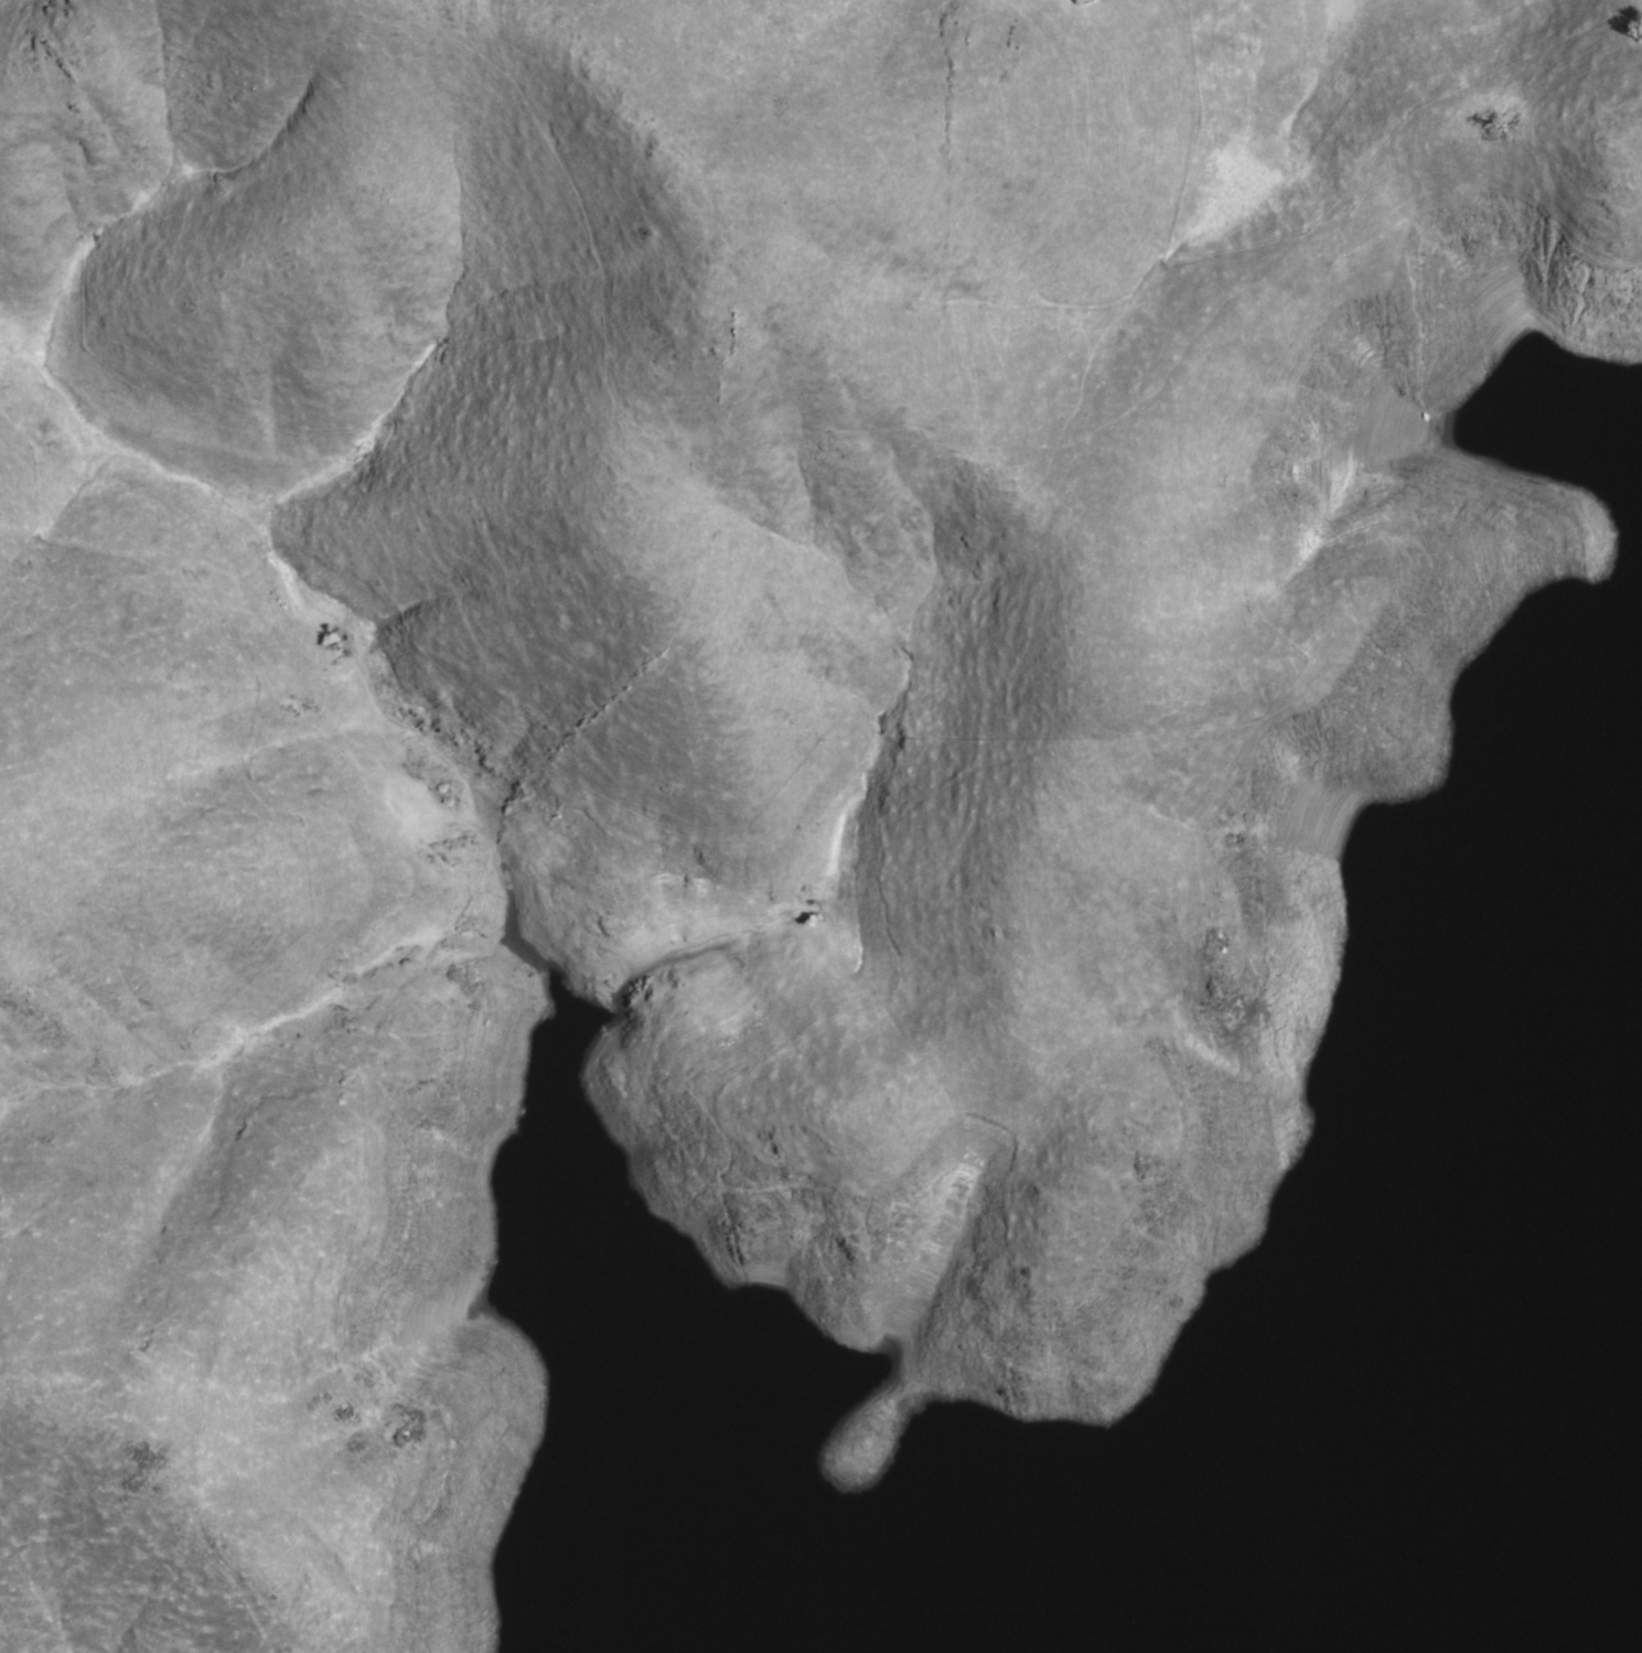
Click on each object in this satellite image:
park: (1328, 97)
park: (611, 926)

